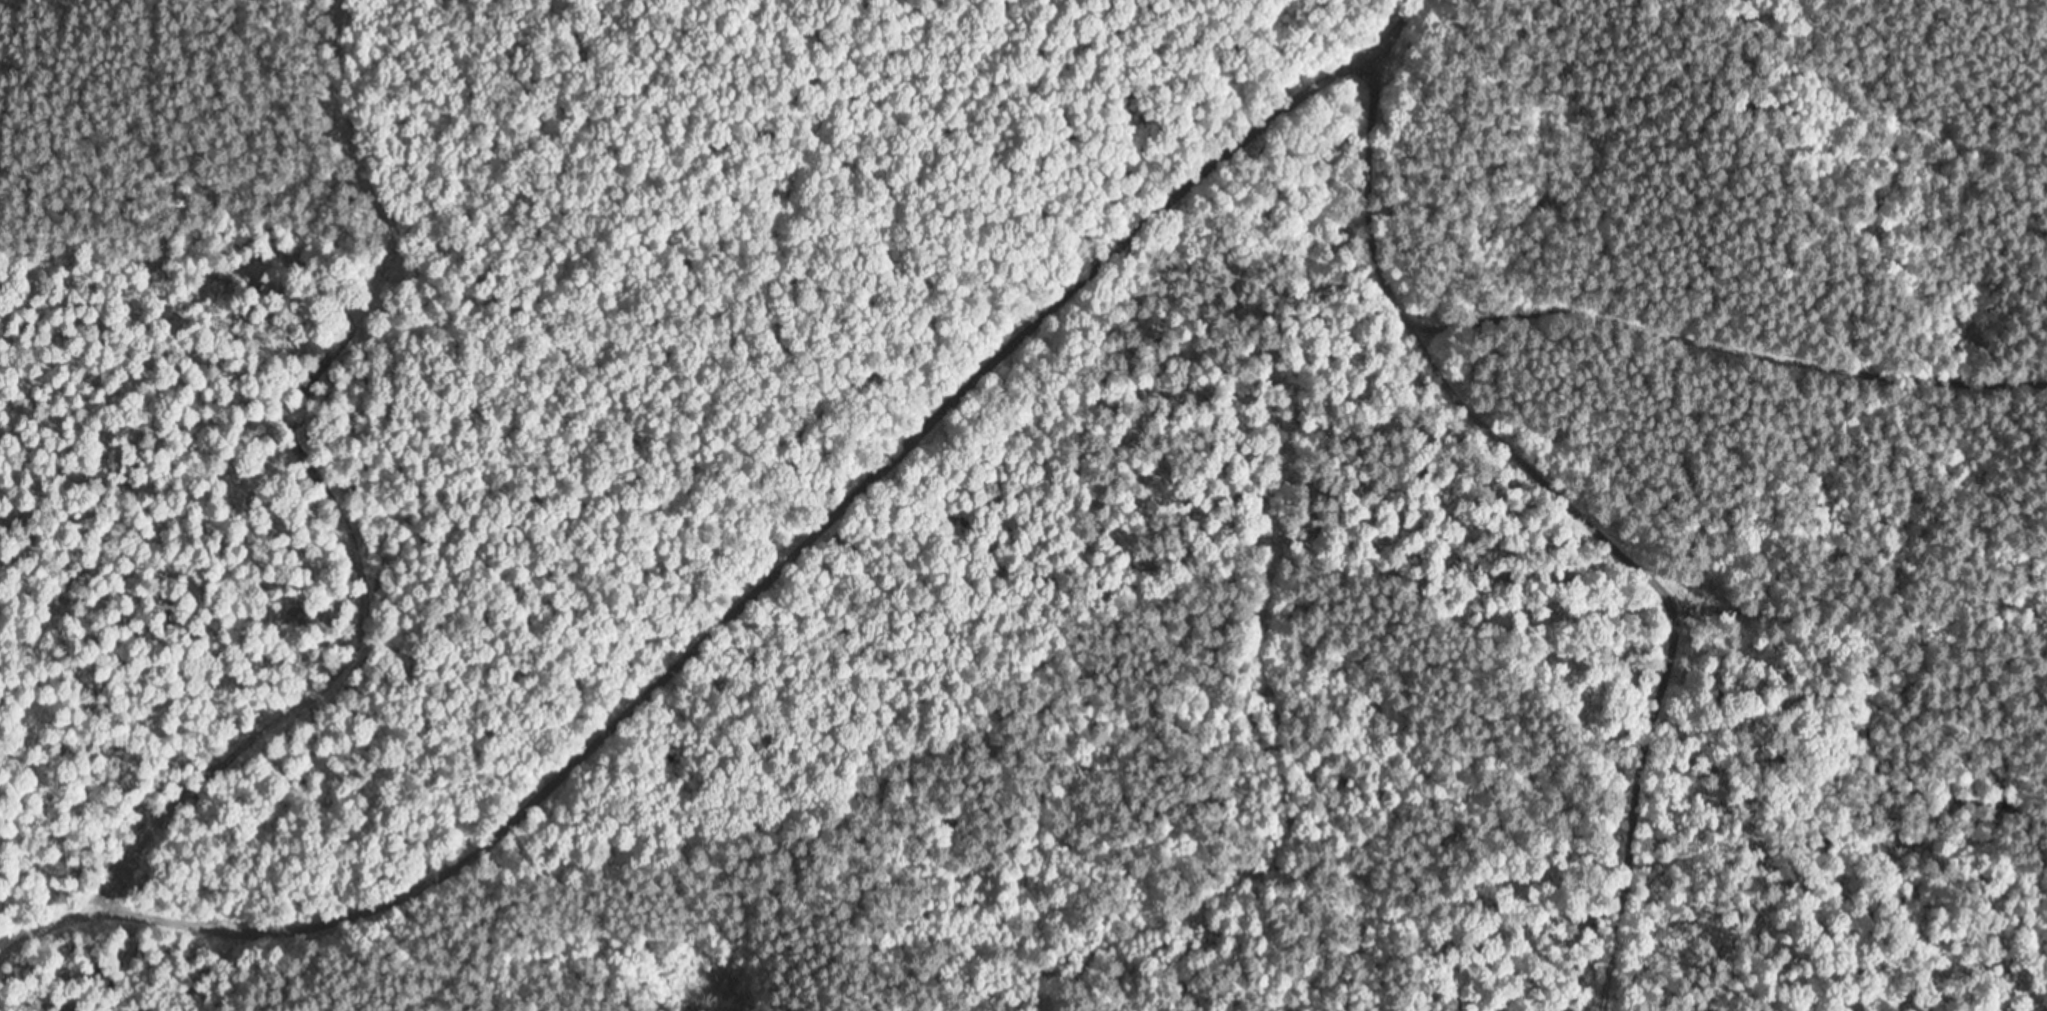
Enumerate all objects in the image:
road: (1397, 25)
road: (1586, 325)
road: (731, 608)

